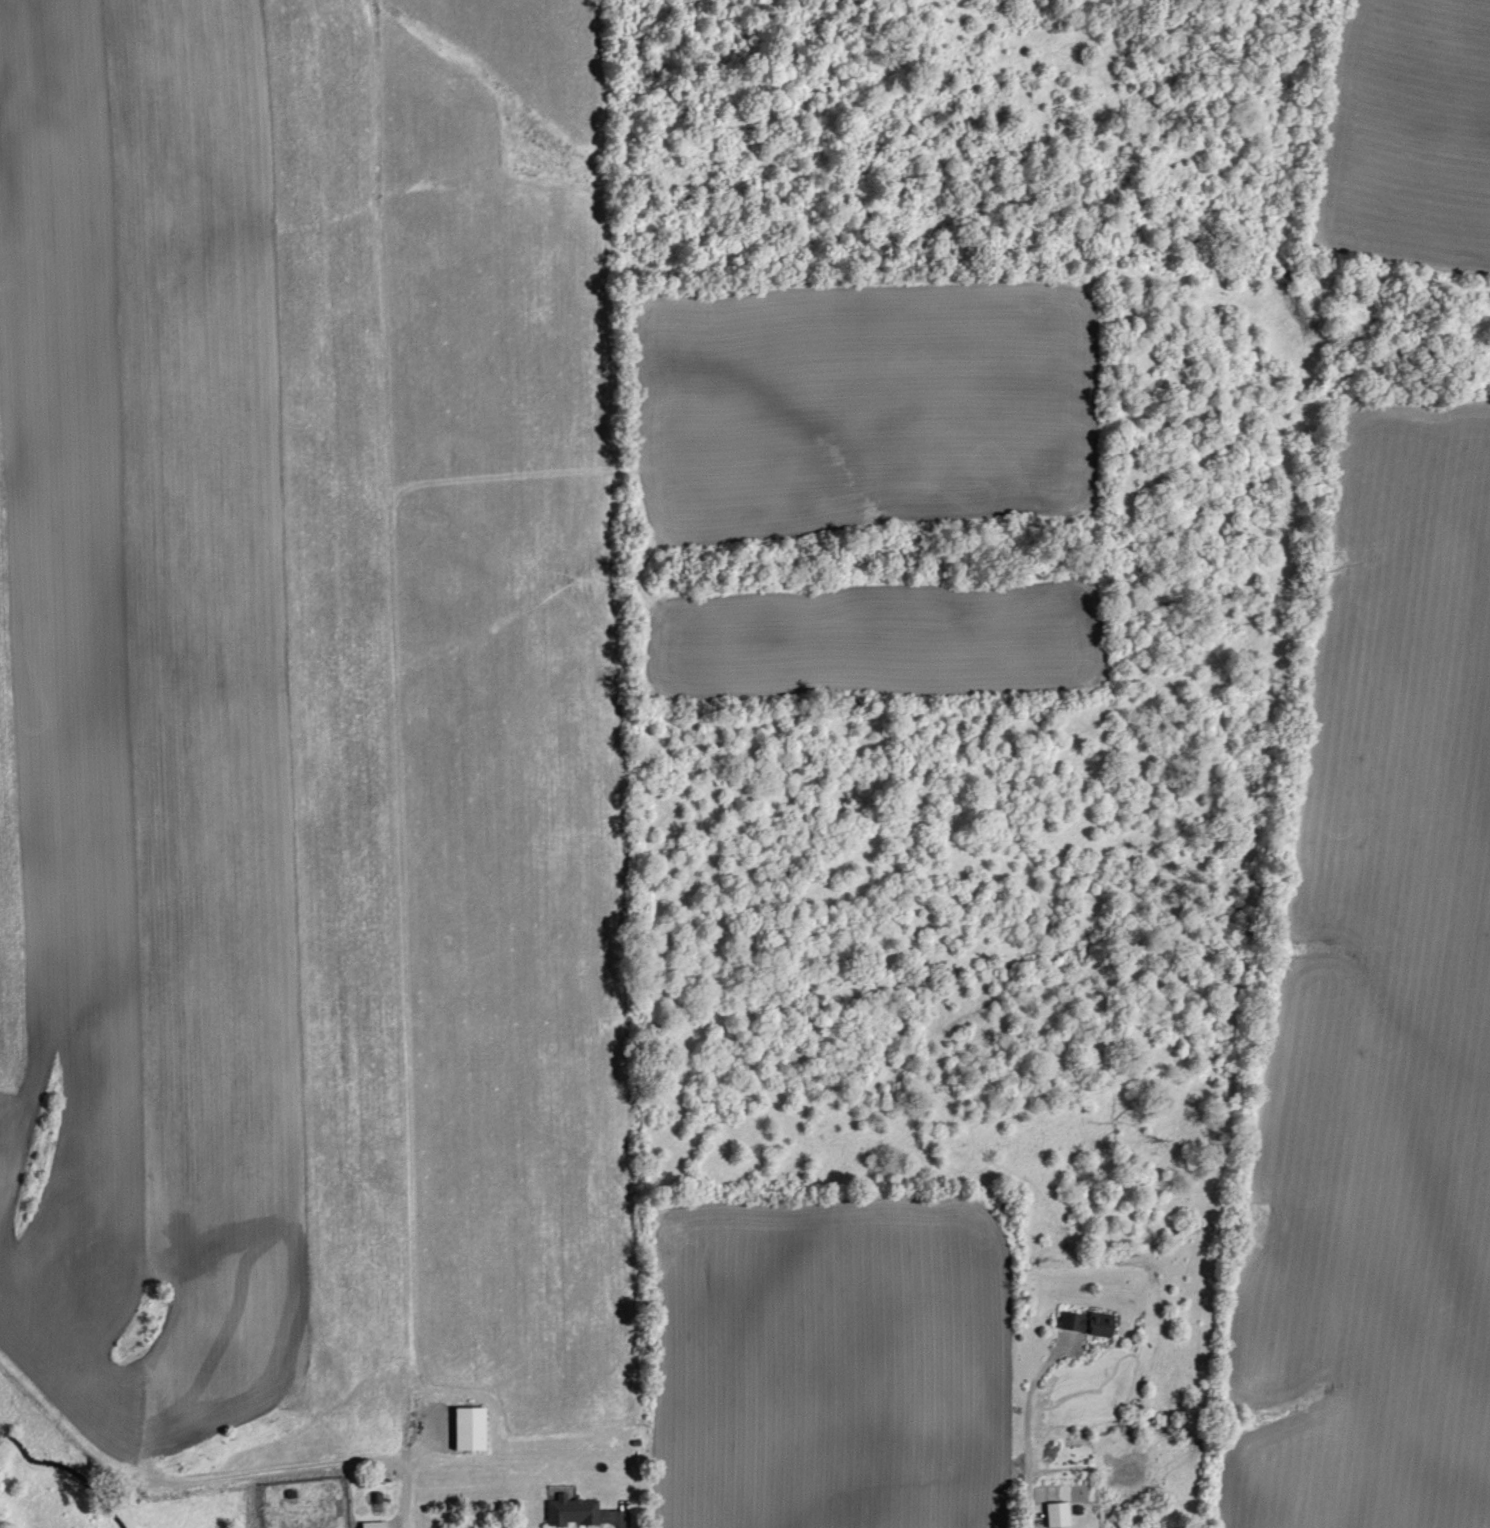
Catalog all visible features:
building: (1088, 1324)
building: (473, 1428)
road: (1026, 1430)
road: (405, 1474)
building: (574, 1511)
building: (1060, 1514)
road: (621, 1523)
building: (376, 1524)

